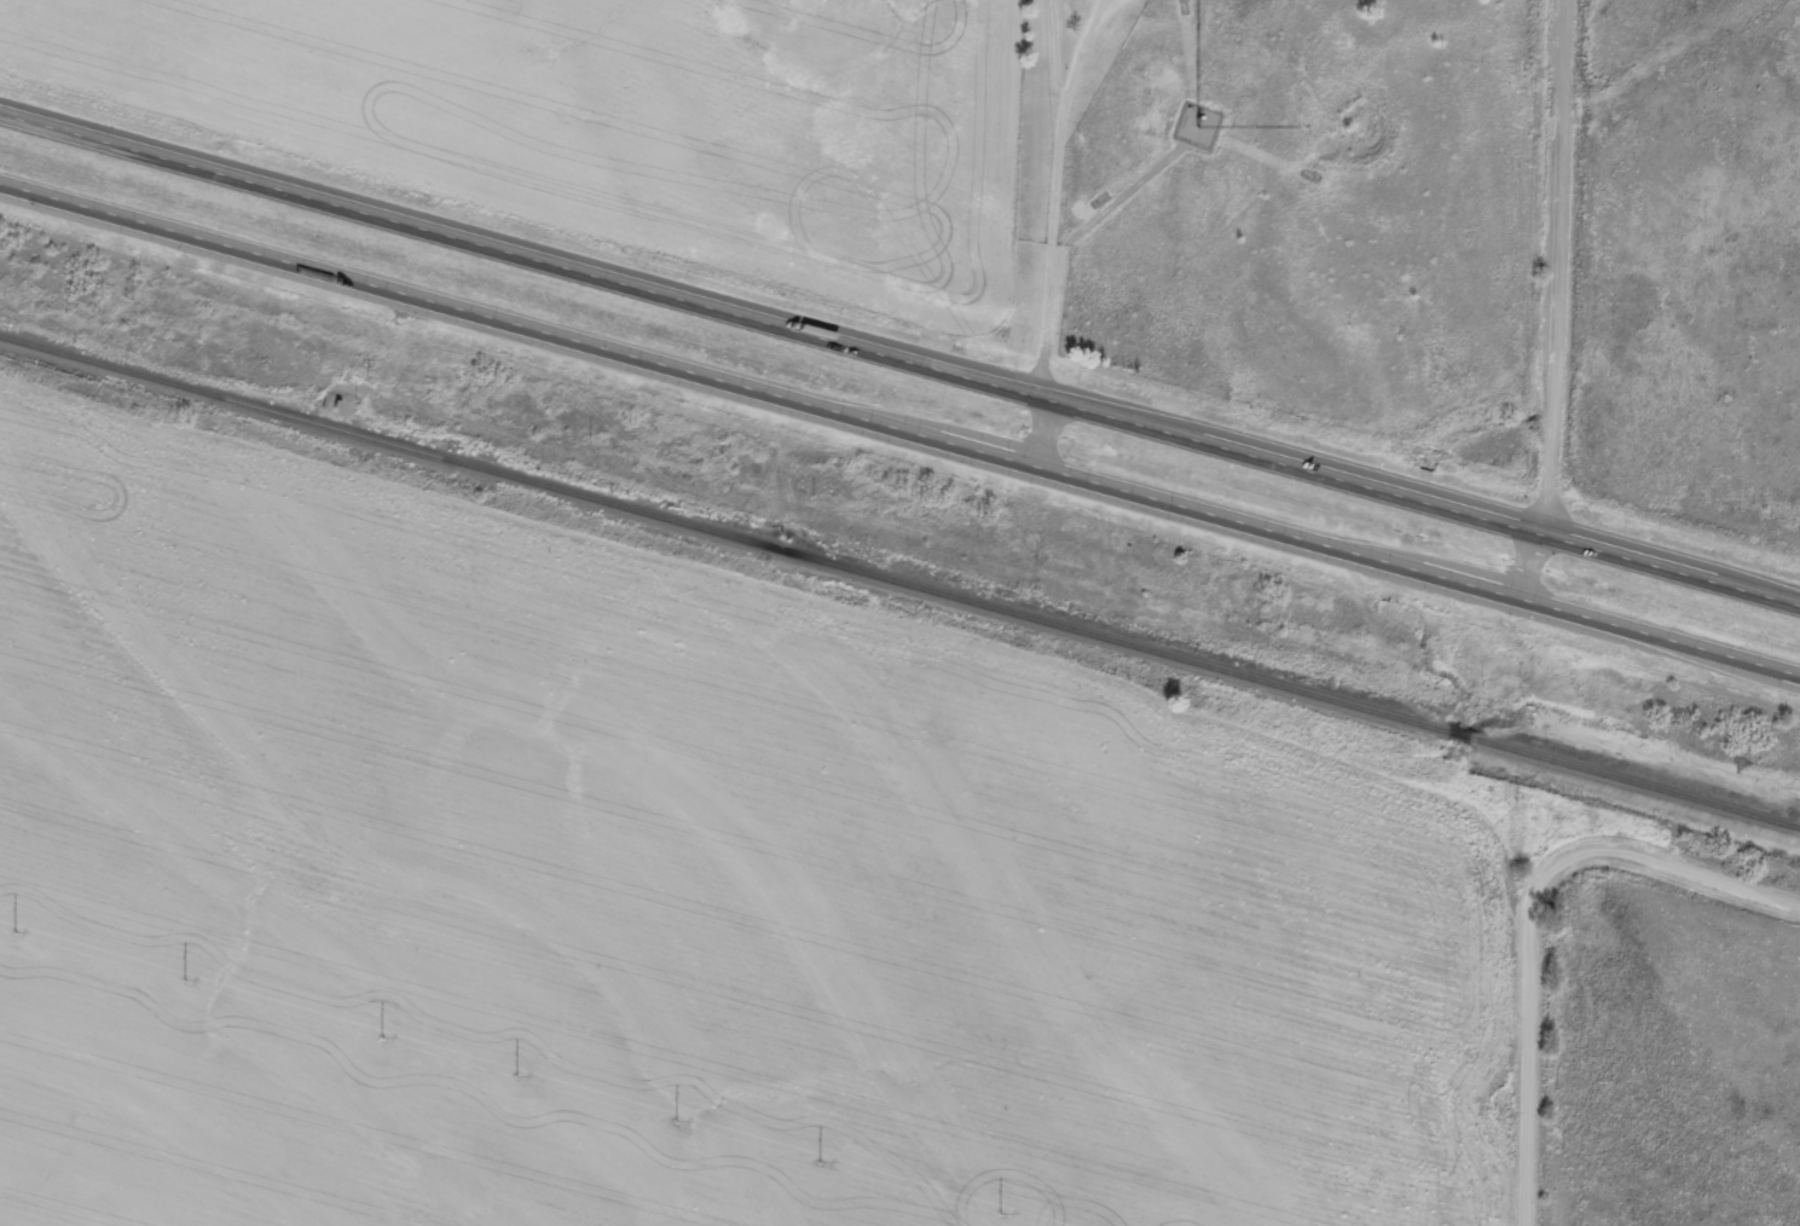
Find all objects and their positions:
road: (1053, 231)
road: (1562, 261)
road: (901, 346)
road: (899, 427)
road: (1536, 560)
railway: (899, 580)
road: (1538, 918)

